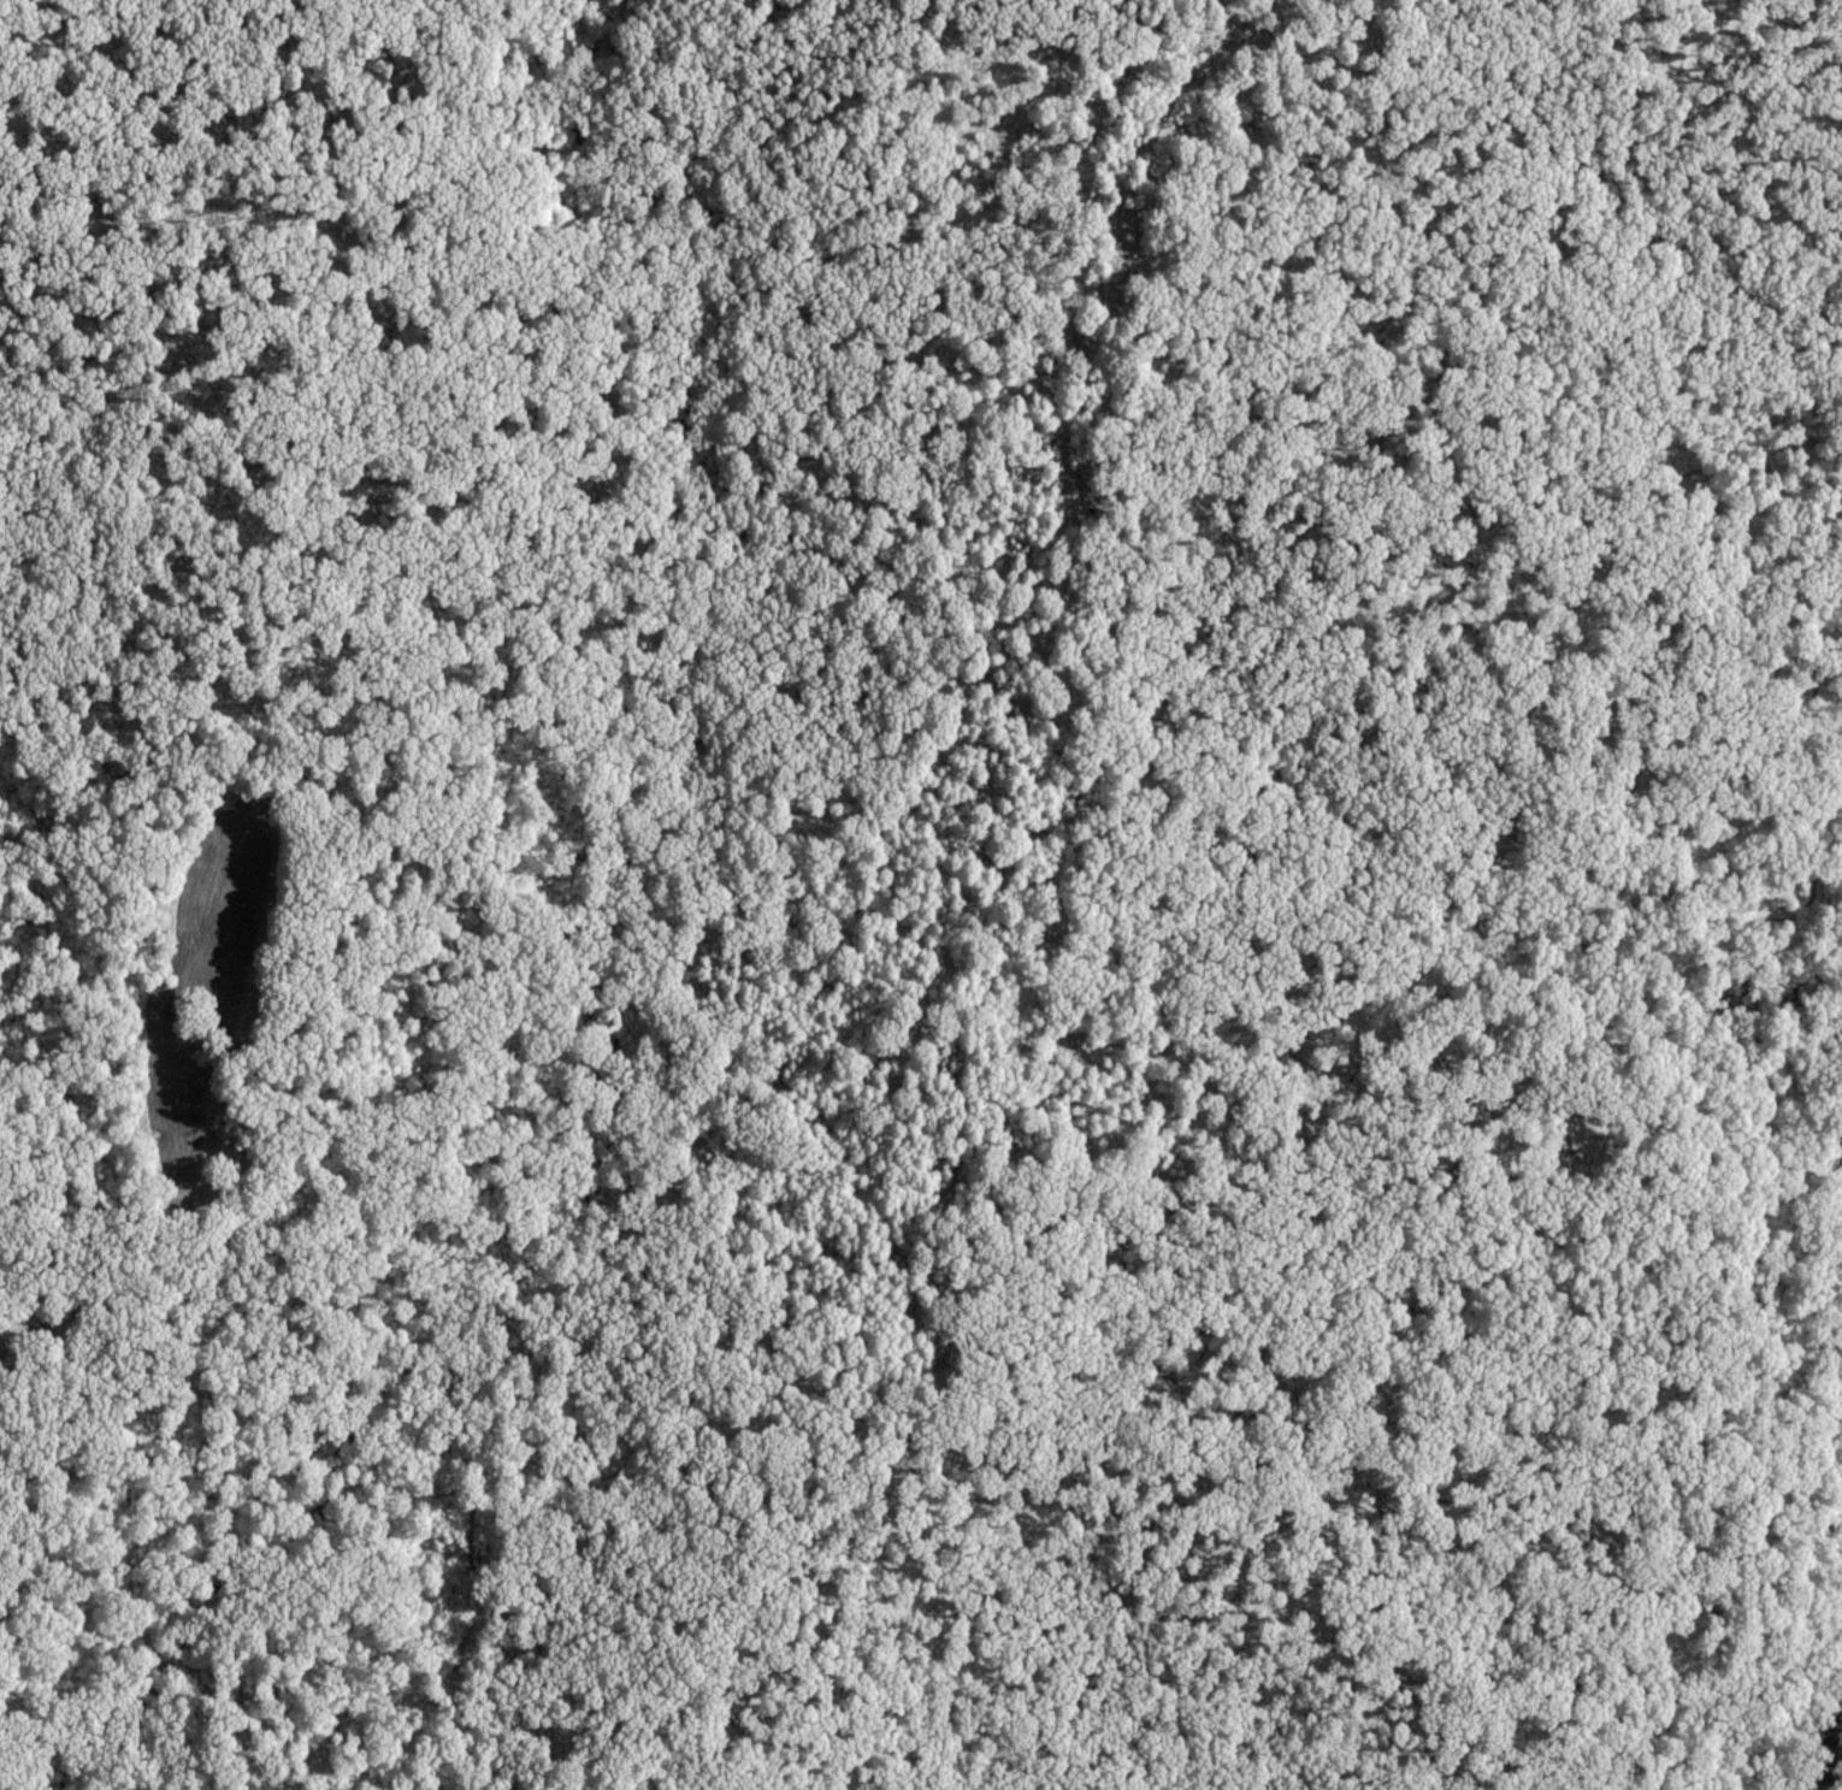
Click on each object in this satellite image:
road: (1696, 952)

